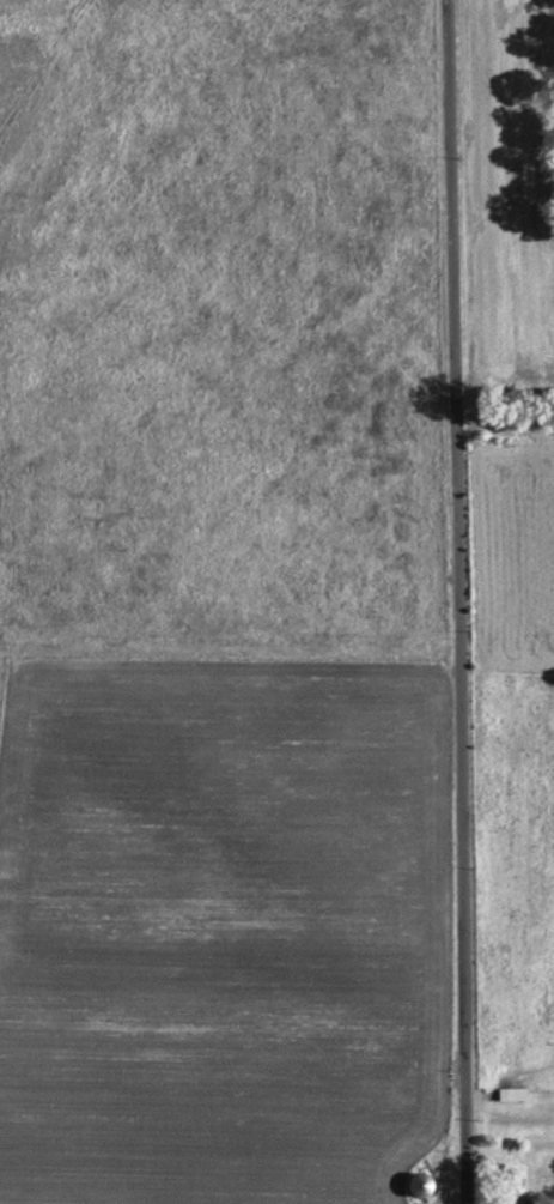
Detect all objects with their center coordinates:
road: (459, 601)
building: (407, 1187)

